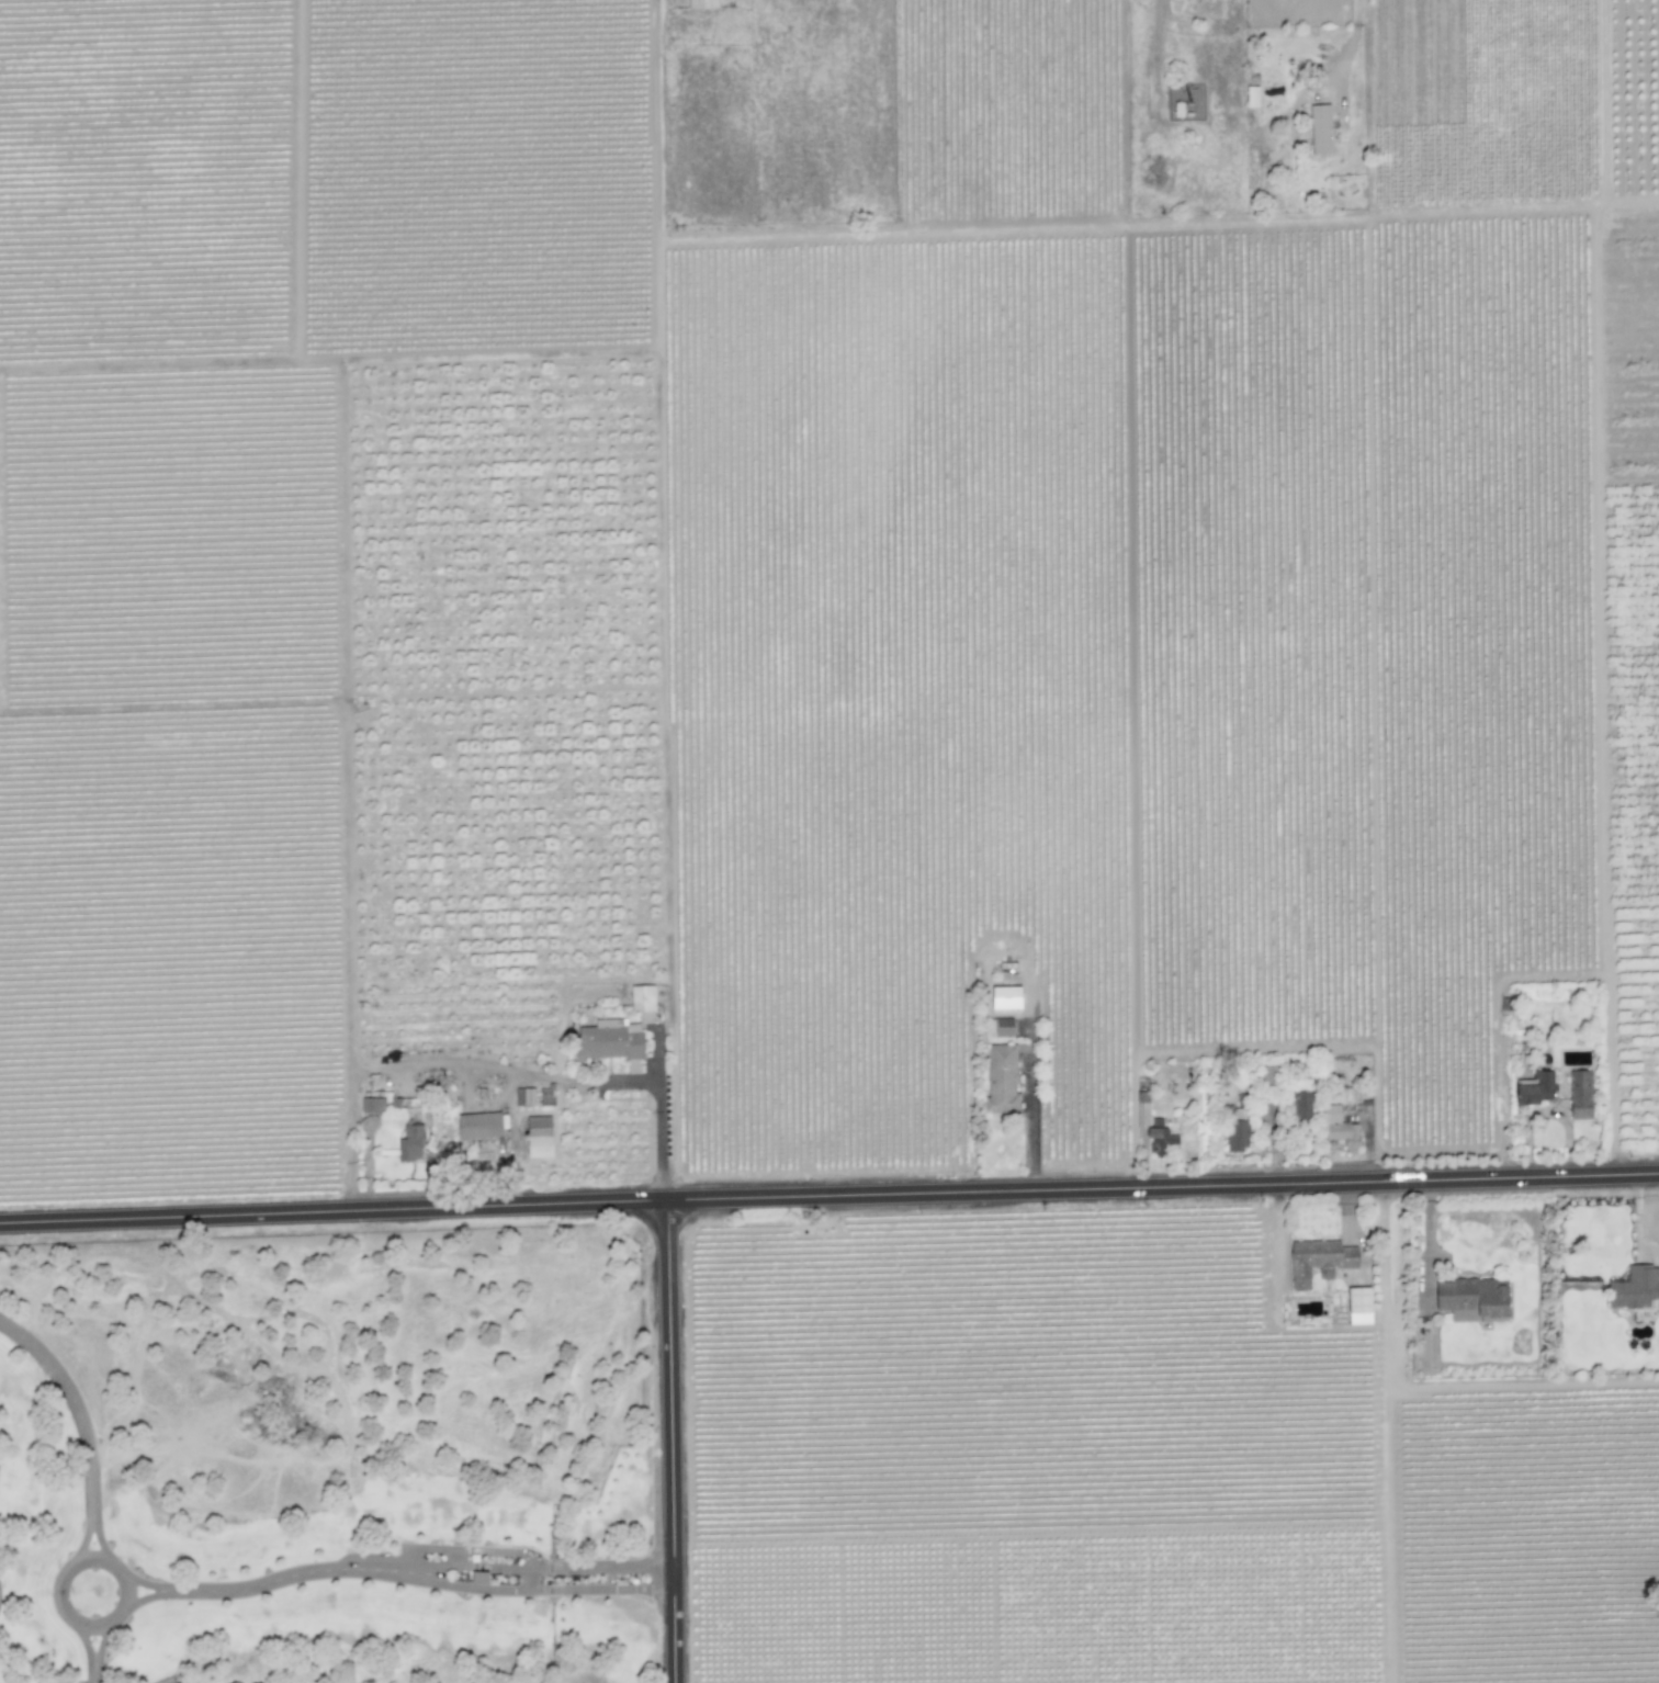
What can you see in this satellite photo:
building: (701, 3)
road: (1357, 25)
building: (1251, 97)
building: (1319, 128)
building: (1005, 997)
building: (642, 998)
building: (1032, 1002)
building: (1000, 1027)
building: (608, 1040)
building: (1001, 1078)
building: (1534, 1088)
building: (1580, 1095)
building: (523, 1096)
building: (545, 1096)
building: (1141, 1103)
building: (1300, 1104)
building: (372, 1105)
road: (1030, 1106)
building: (478, 1126)
building: (1339, 1129)
road: (658, 1136)
building: (538, 1137)
building: (410, 1142)
road: (828, 1196)
building: (1319, 1261)
building: (1635, 1288)
building: (1472, 1299)
building: (1358, 1306)
road: (76, 1409)
road: (673, 1441)
park: (325, 1458)
road: (97, 1540)
road: (83, 1541)
road: (540, 1567)
road: (59, 1577)
road: (284, 1578)
road: (145, 1583)
road: (539, 1590)
road: (145, 1597)
road: (84, 1644)
road: (100, 1644)
road: (93, 1672)

